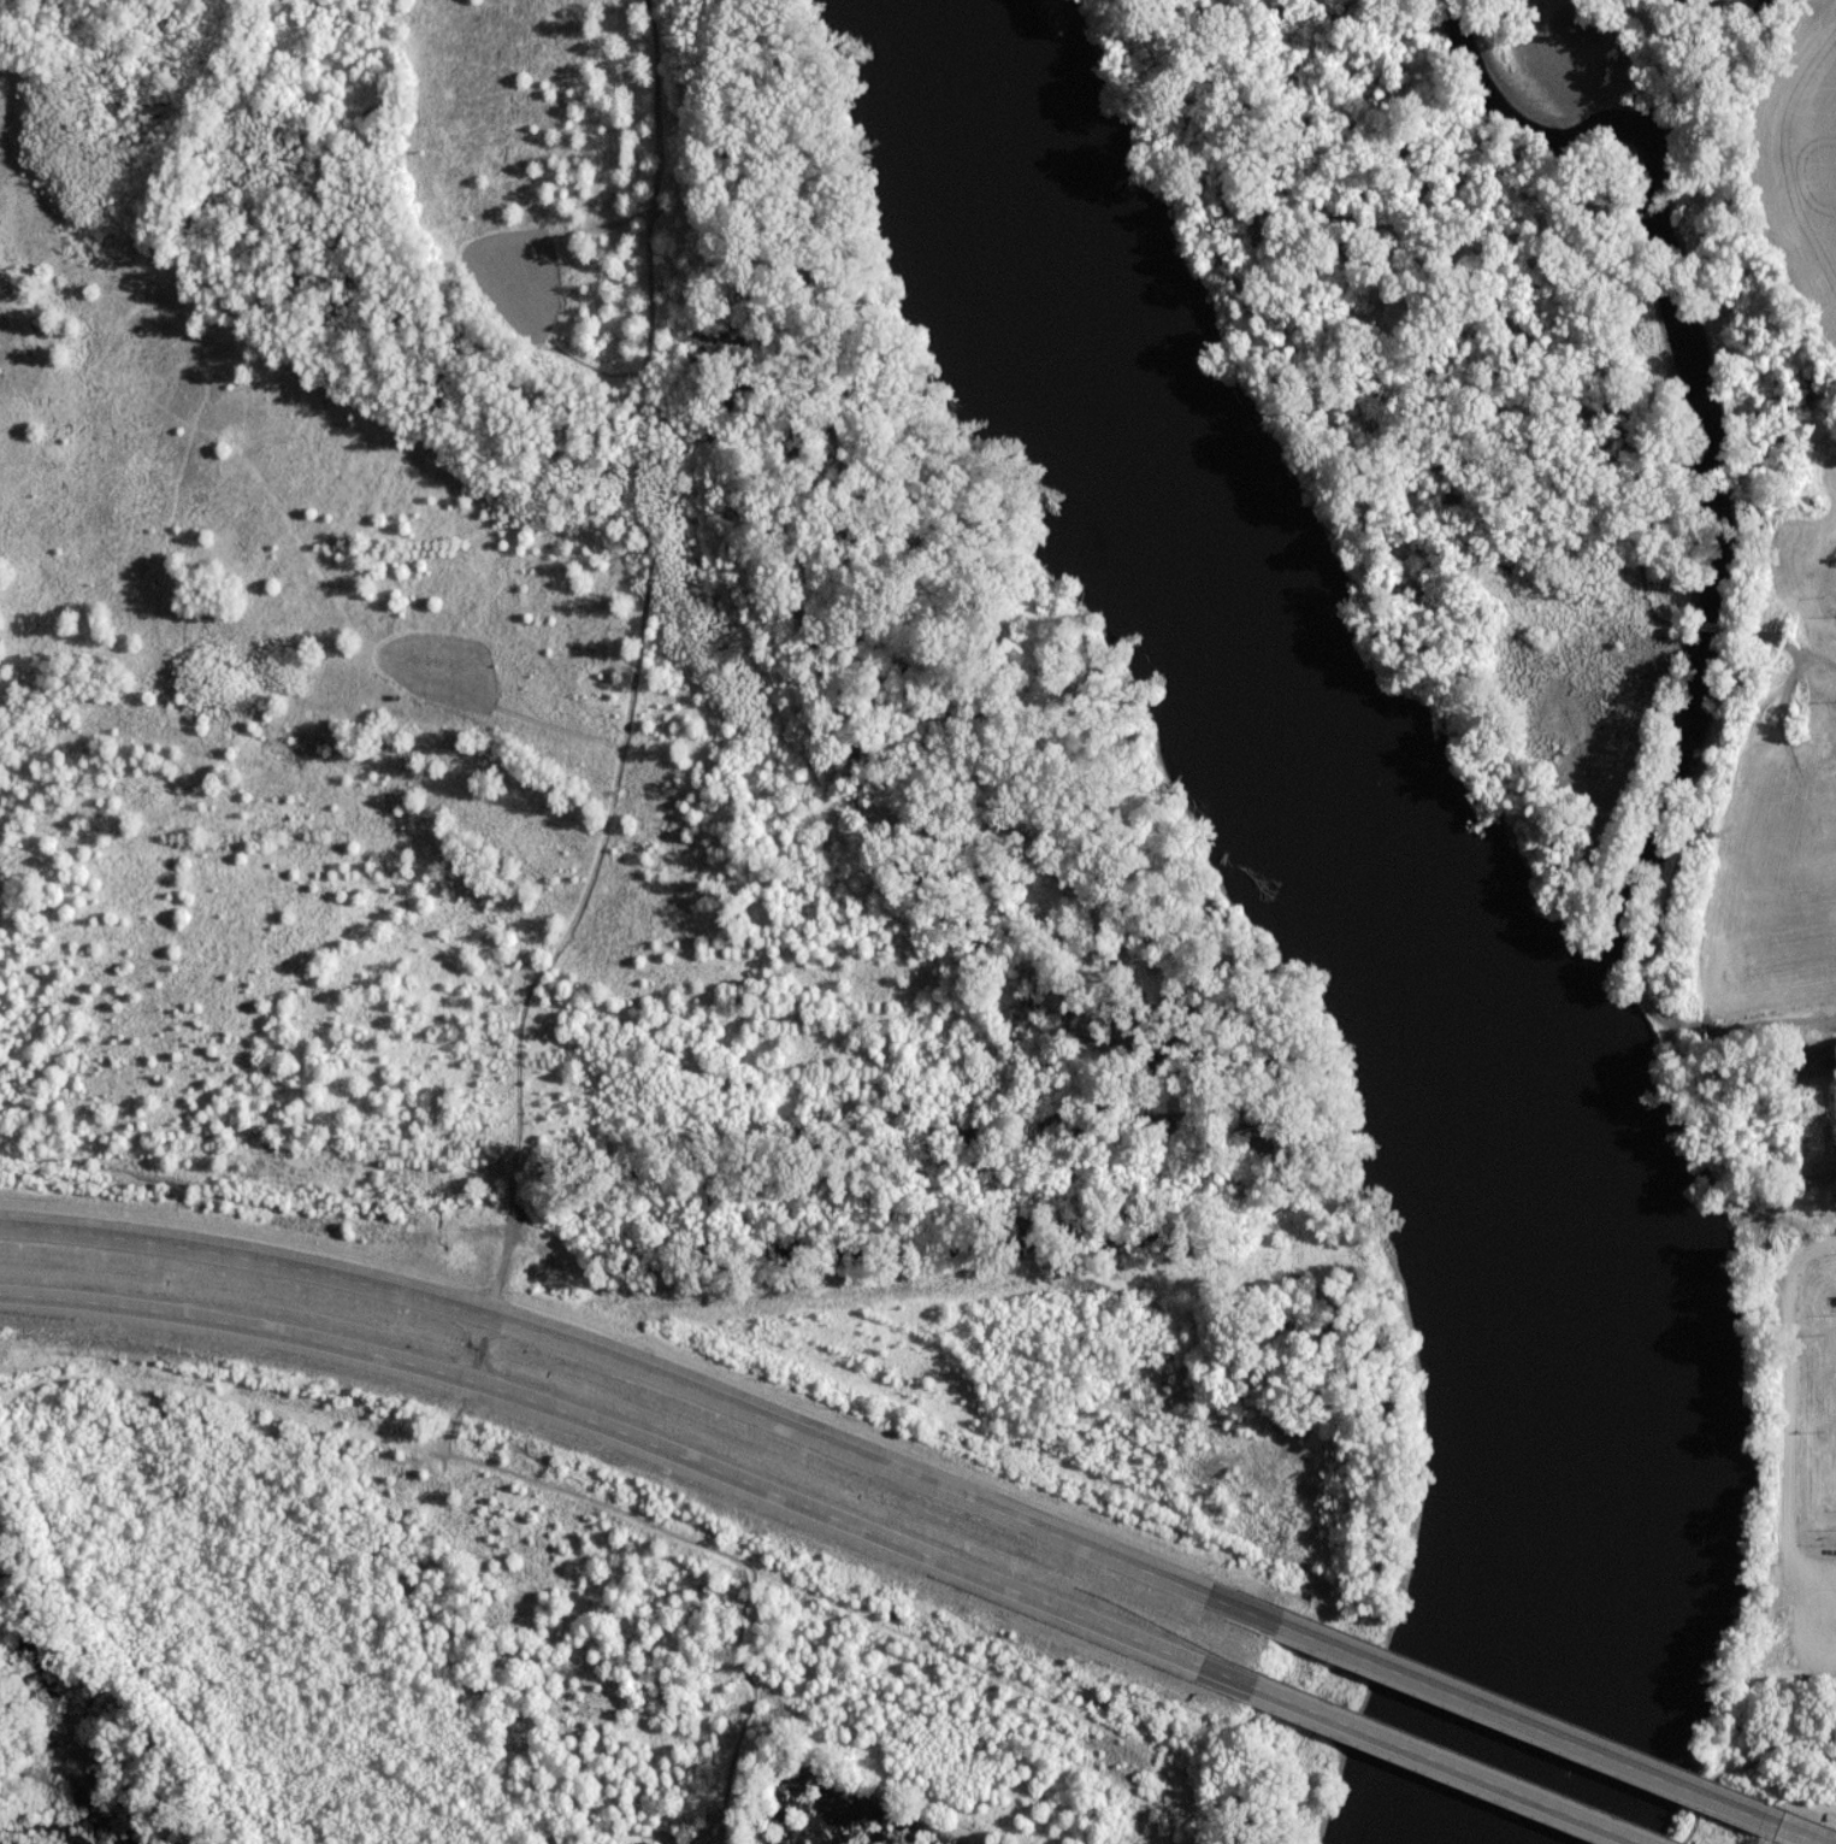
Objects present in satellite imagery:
road: (1738, 632)
road: (704, 683)
river: (1397, 896)
road: (1753, 1037)
road: (476, 1353)
road: (650, 1375)
road: (1790, 1406)
road: (951, 1427)
road: (637, 1443)
road: (1518, 1727)
road: (1434, 1767)
road: (1785, 1836)

